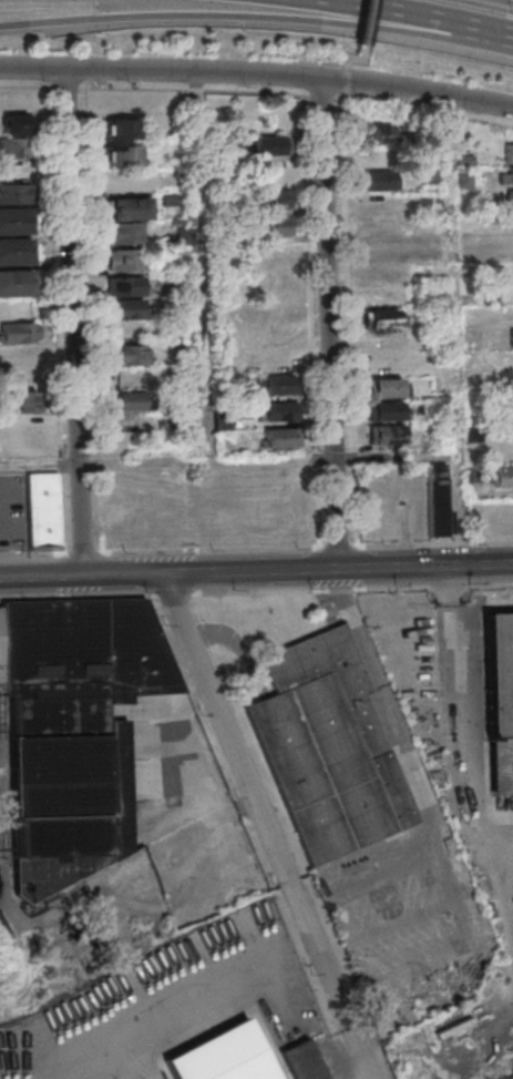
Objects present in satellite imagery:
road: (504, 1)
road: (389, 12)
road: (230, 19)
road: (488, 31)
road: (367, 35)
road: (346, 69)
road: (172, 70)
road: (343, 89)
road: (429, 93)
road: (428, 112)
building: (14, 124)
building: (121, 129)
building: (377, 134)
building: (270, 144)
building: (13, 146)
building: (509, 152)
building: (121, 155)
building: (269, 171)
building: (505, 174)
building: (379, 180)
building: (14, 192)
building: (510, 197)
building: (273, 199)
building: (379, 203)
building: (126, 218)
building: (14, 221)
building: (273, 226)
building: (379, 226)
building: (512, 244)
building: (380, 248)
building: (17, 251)
building: (275, 253)
building: (126, 258)
road: (207, 264)
building: (379, 272)
road: (456, 274)
building: (276, 279)
building: (16, 282)
building: (126, 285)
building: (127, 308)
building: (386, 318)
road: (79, 322)
road: (334, 324)
building: (20, 332)
building: (512, 336)
building: (130, 354)
building: (10, 371)
building: (131, 377)
building: (276, 385)
building: (389, 387)
building: (25, 400)
building: (131, 400)
building: (279, 410)
building: (384, 410)
building: (132, 425)
building: (386, 434)
building: (283, 436)
building: (18, 448)
road: (230, 457)
building: (501, 476)
building: (369, 485)
building: (438, 499)
building: (43, 509)
road: (465, 509)
road: (338, 569)
road: (125, 574)
road: (43, 577)
road: (353, 587)
road: (174, 592)
road: (346, 593)
road: (76, 596)
building: (500, 700)
road: (456, 713)
road: (227, 727)
building: (73, 733)
building: (325, 745)
road: (466, 930)
road: (331, 980)
building: (304, 1060)

